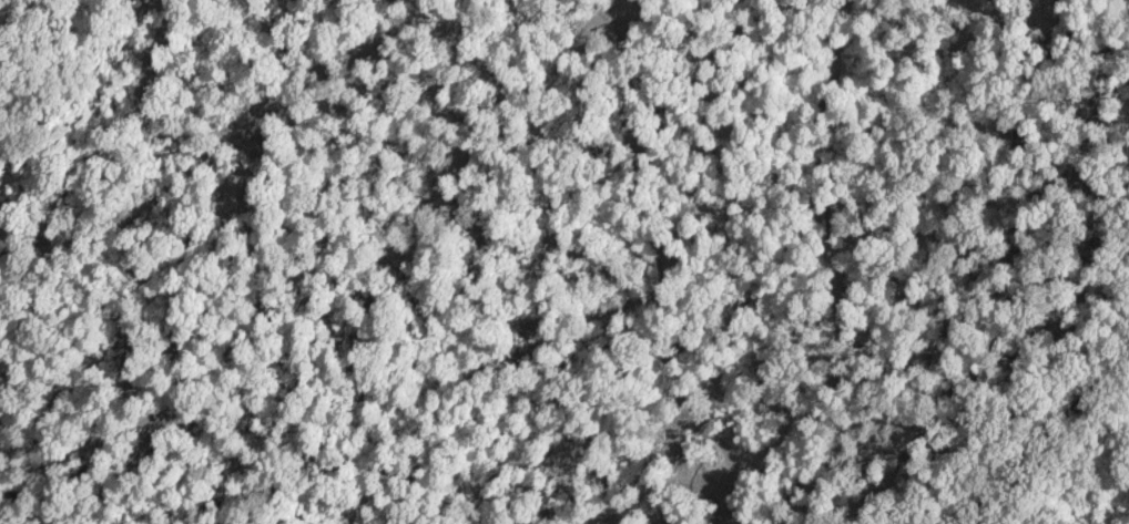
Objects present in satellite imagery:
road: (1019, 412)

